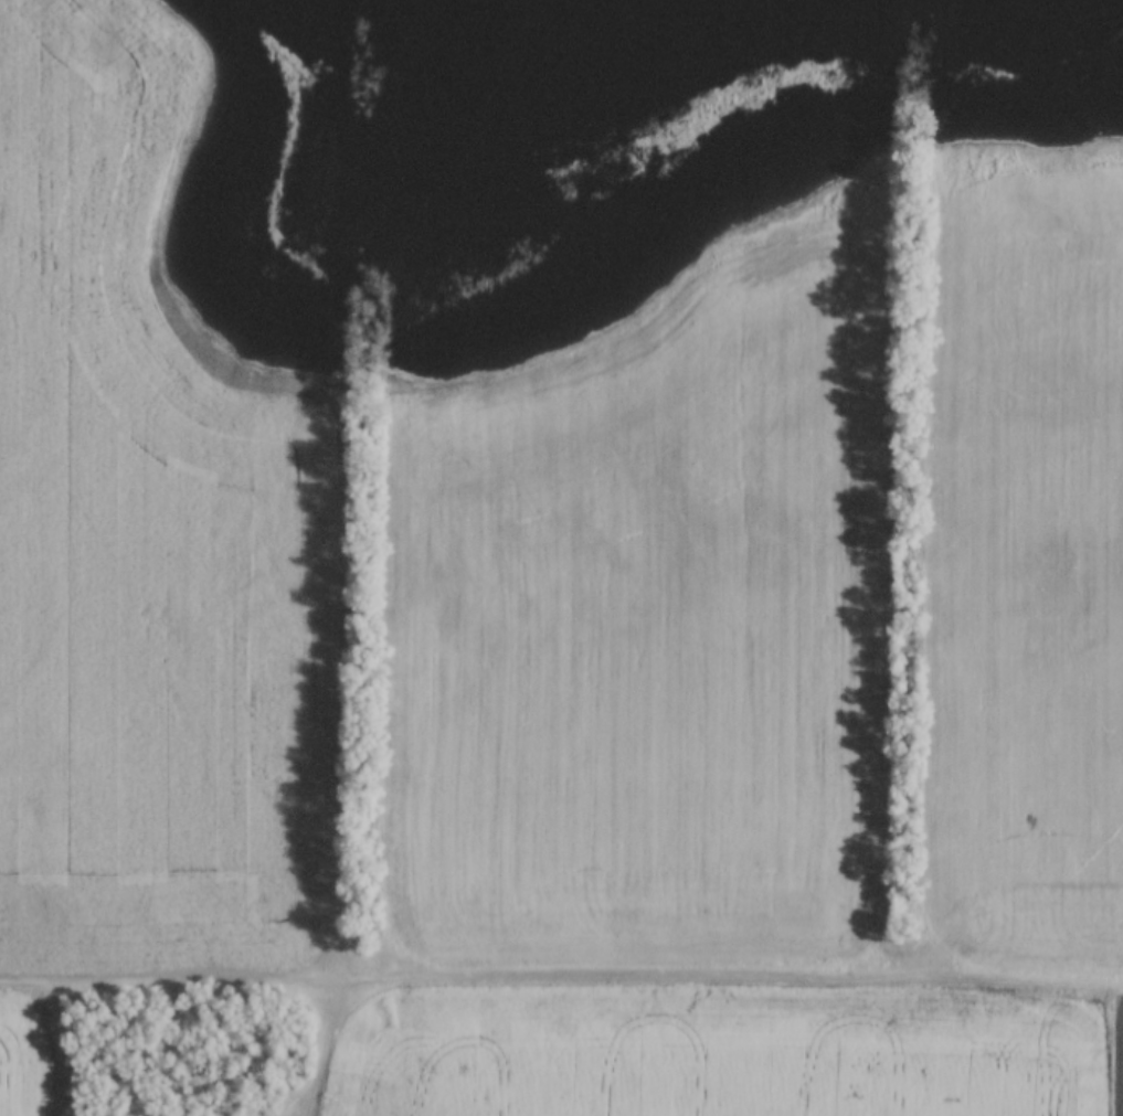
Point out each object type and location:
road: (561, 979)

